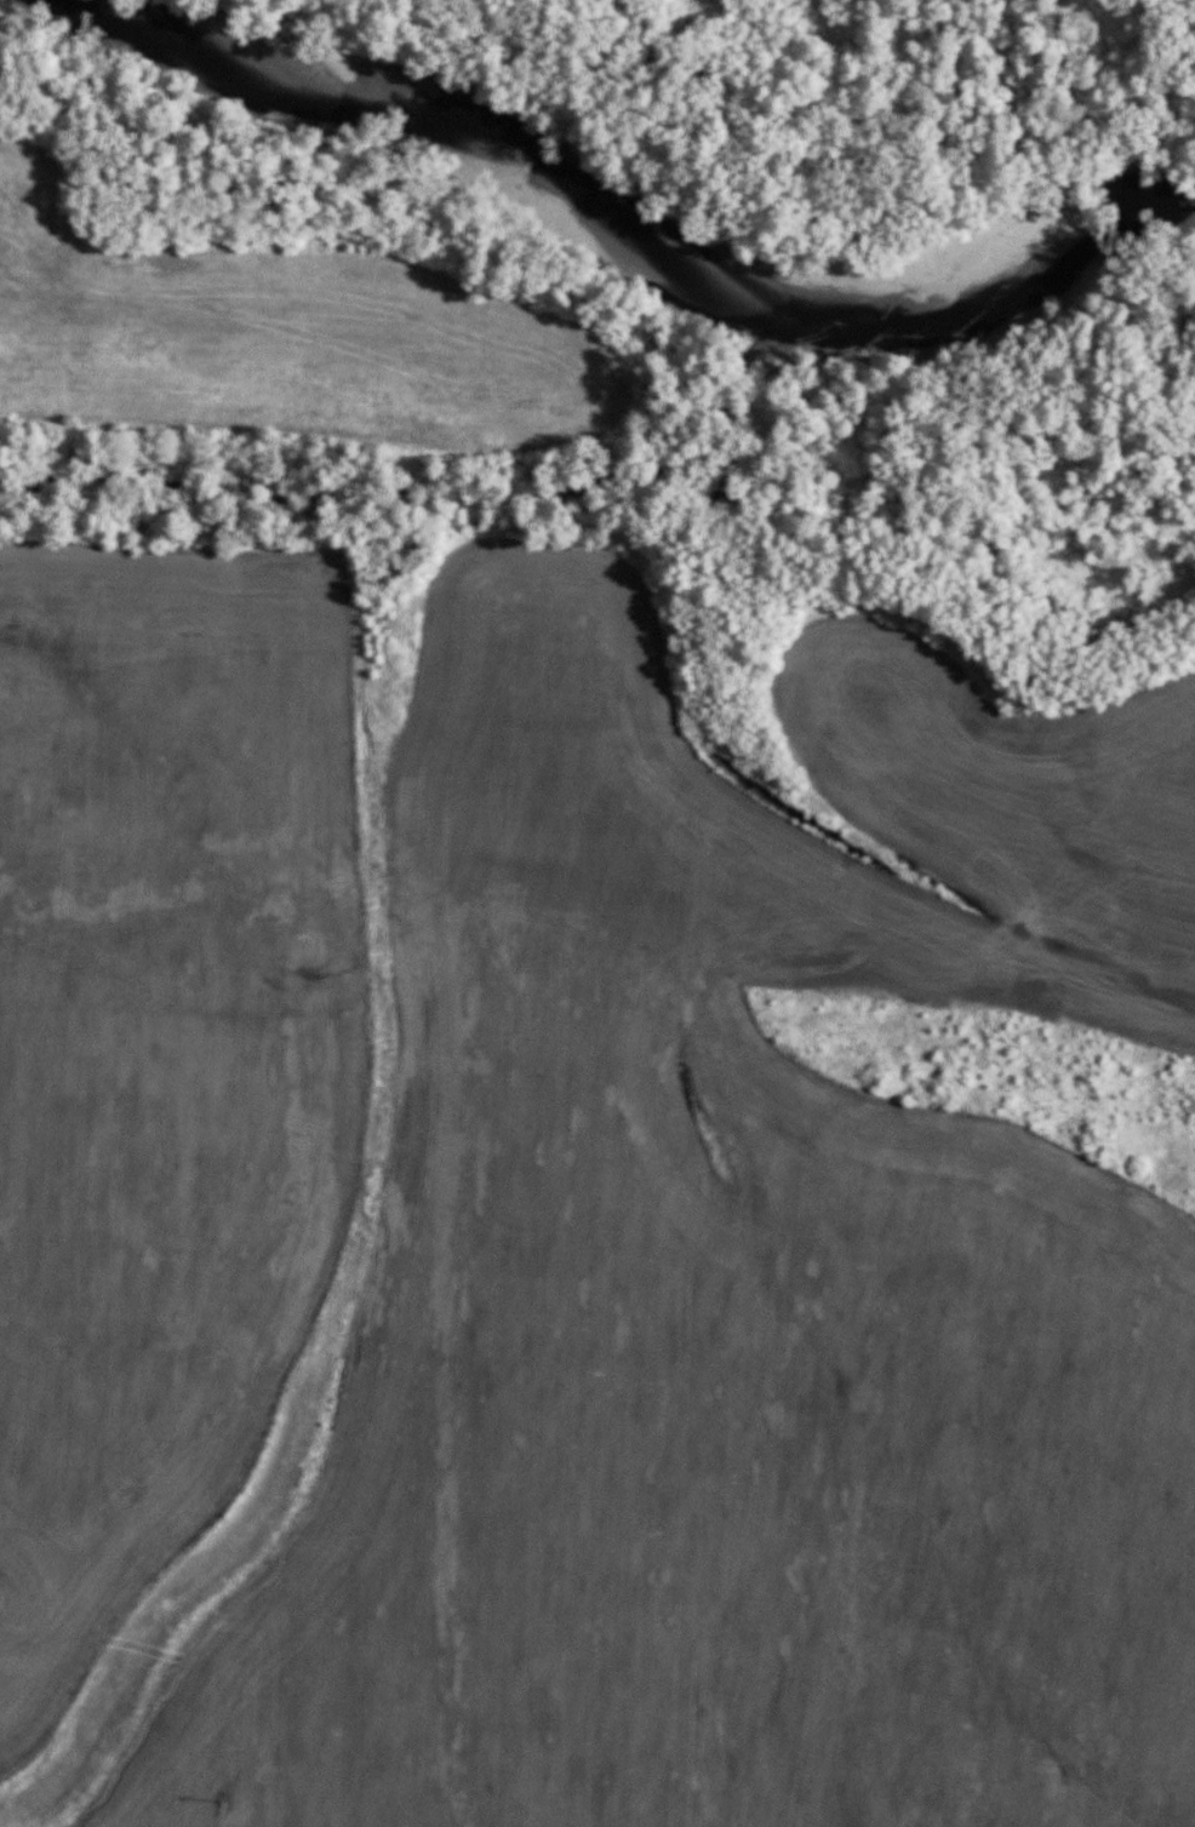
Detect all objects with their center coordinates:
river: (625, 244)

